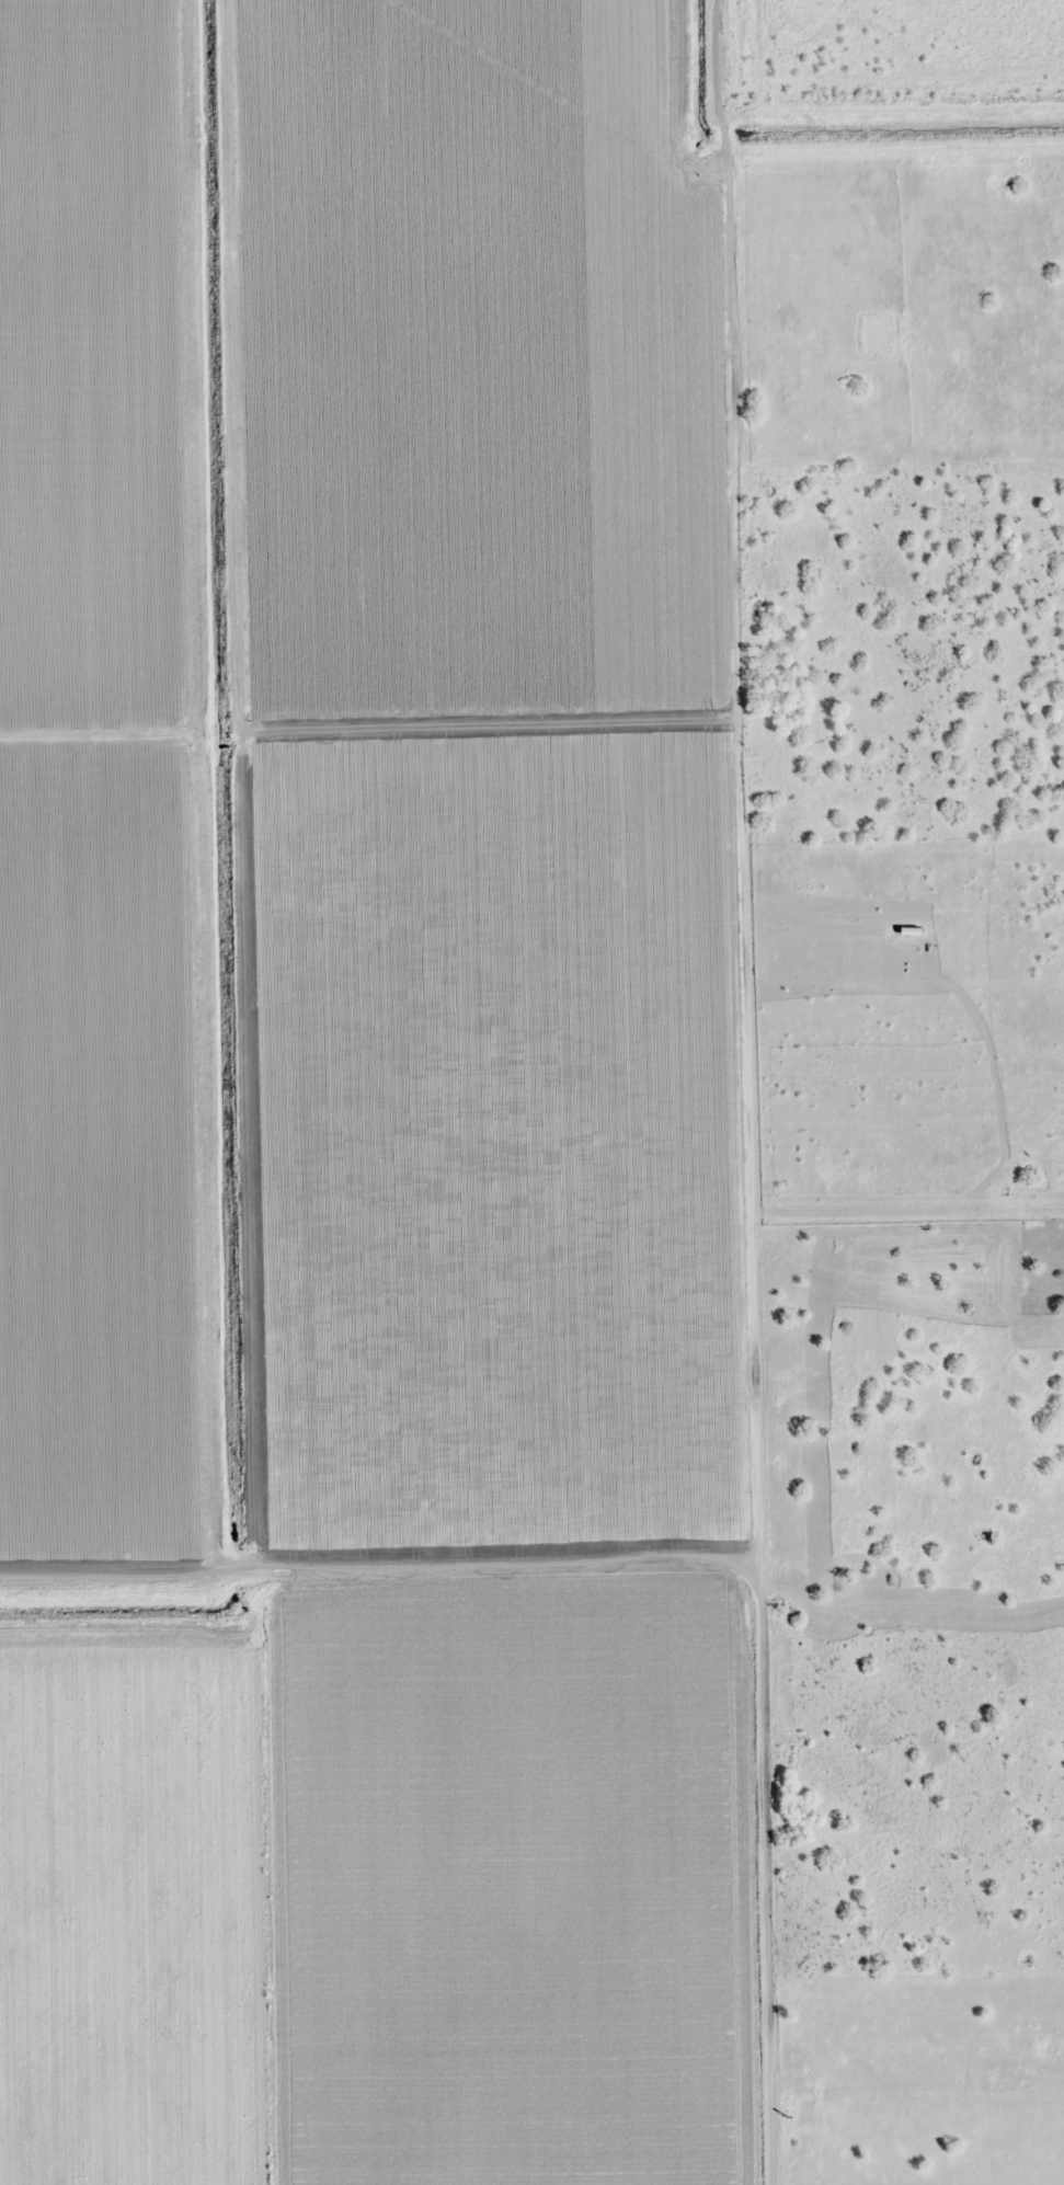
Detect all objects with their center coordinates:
road: (712, 59)
road: (721, 134)
building: (971, 524)
road: (743, 855)
road: (380, 1556)
road: (767, 1873)

